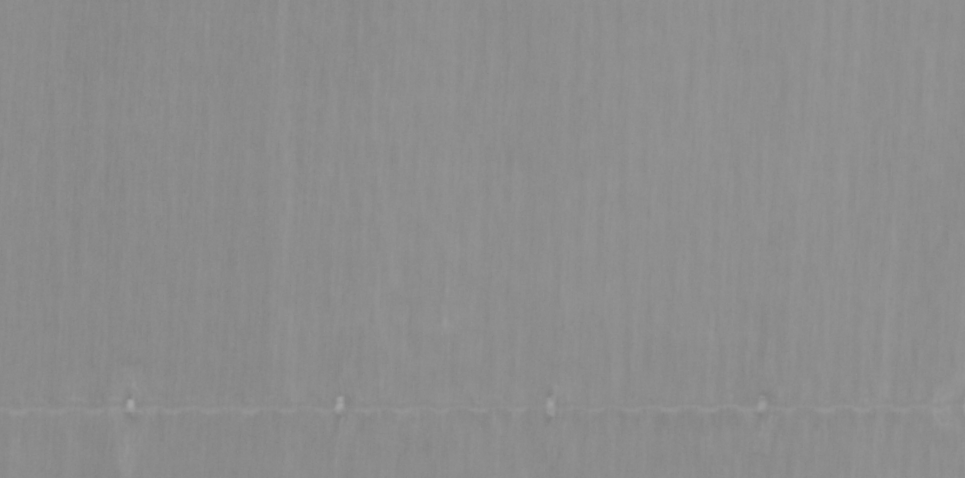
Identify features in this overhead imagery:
crop: (482, 239)

